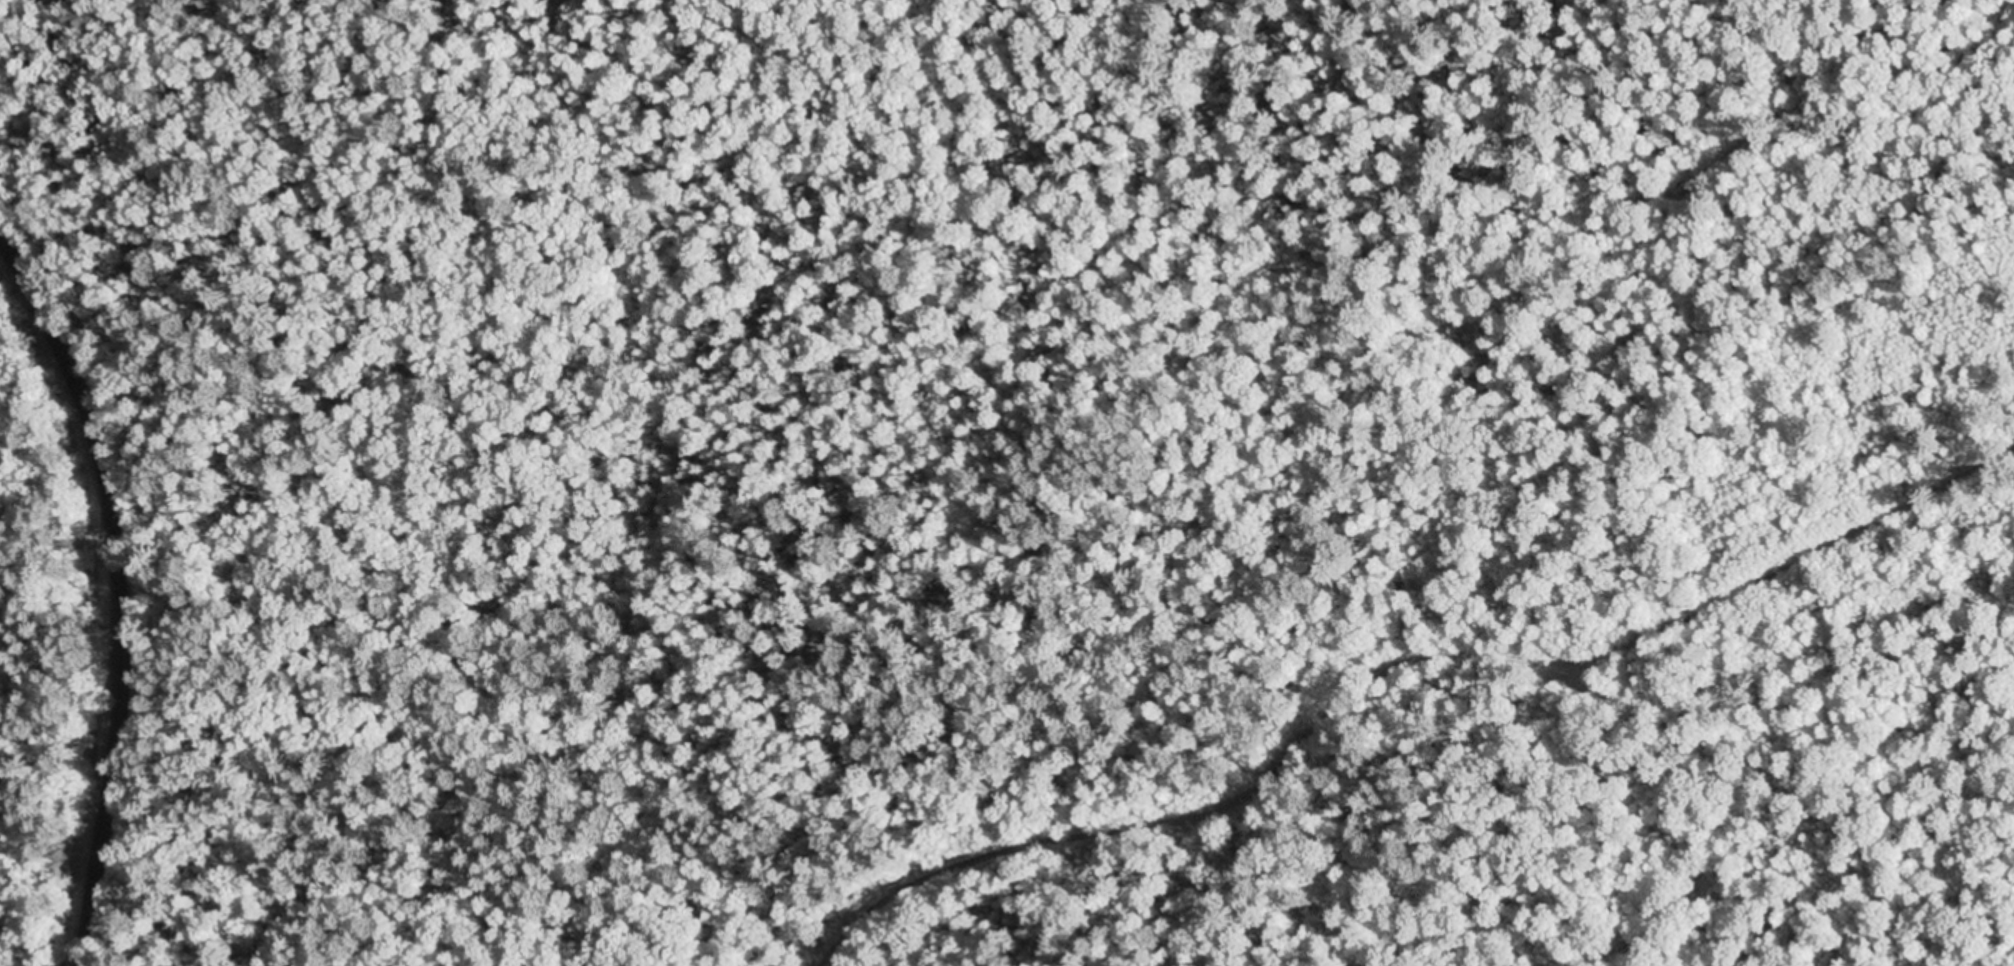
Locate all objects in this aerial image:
road: (121, 583)
road: (1396, 664)

